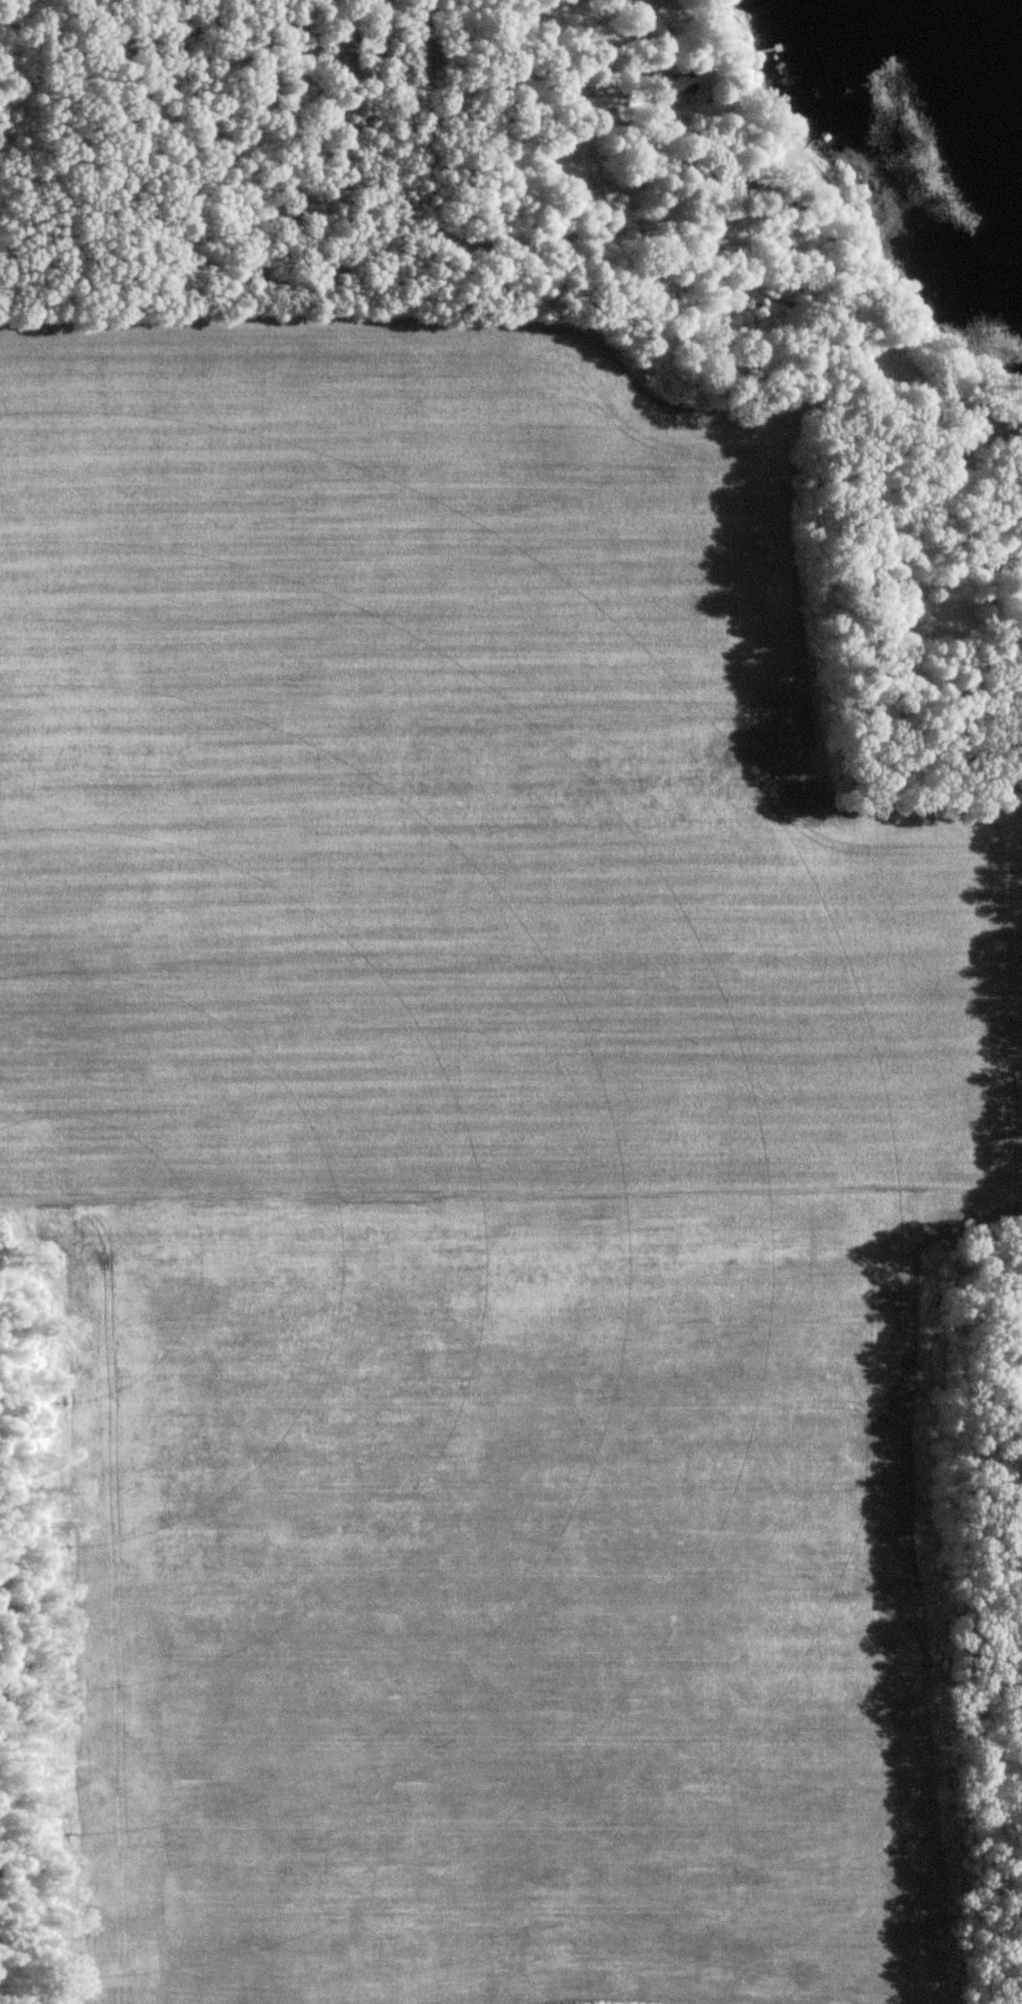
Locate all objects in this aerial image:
building: (637, 19)
road: (454, 239)
building: (734, 255)
building: (994, 449)
building: (1021, 452)
road: (448, 470)

